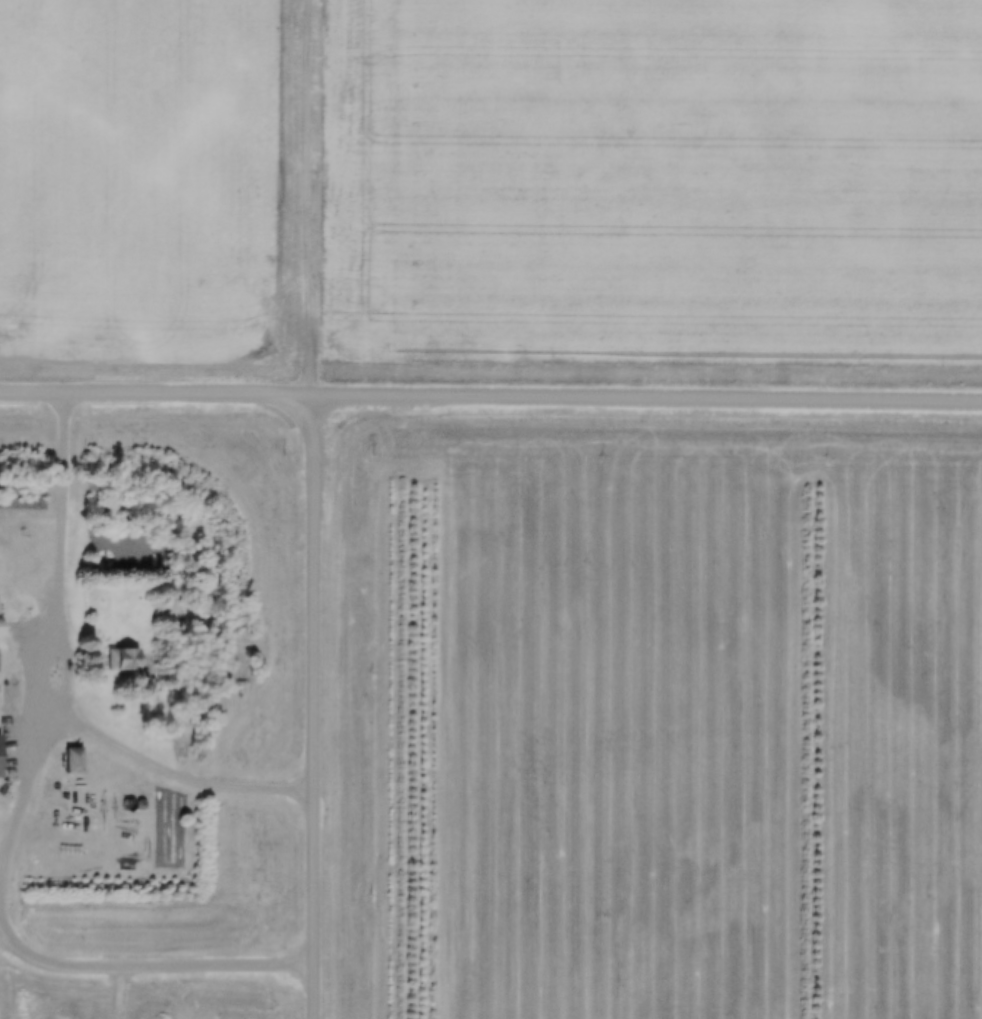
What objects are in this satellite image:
road: (310, 196)
road: (491, 394)
building: (121, 658)
road: (69, 682)
road: (312, 706)
building: (70, 760)

